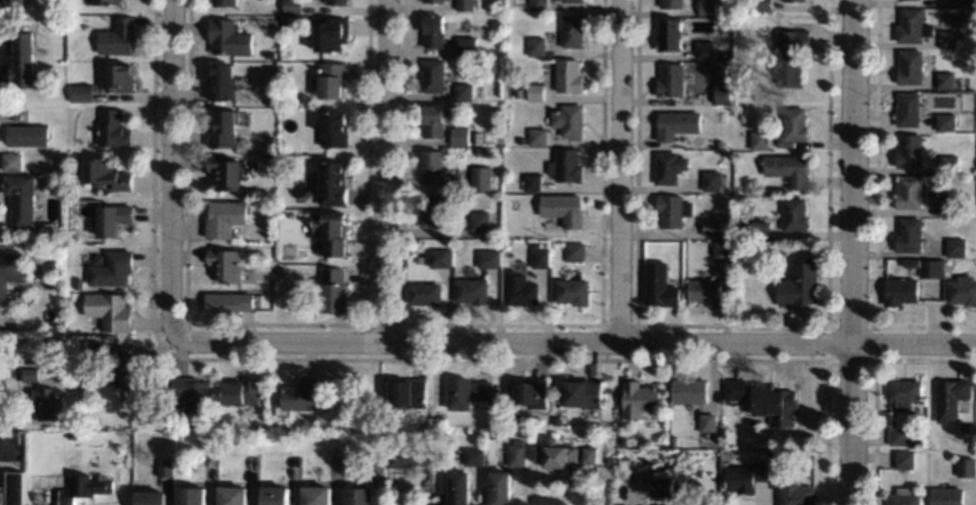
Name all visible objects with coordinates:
building: (11, 0)
building: (432, 0)
building: (793, 0)
building: (903, 0)
building: (571, 1)
building: (106, 2)
building: (225, 2)
building: (338, 2)
building: (965, 2)
building: (672, 4)
building: (292, 5)
building: (464, 5)
building: (536, 5)
building: (762, 5)
building: (707, 7)
building: (283, 19)
building: (24, 23)
building: (912, 25)
building: (433, 30)
building: (571, 30)
building: (331, 32)
building: (669, 34)
building: (117, 36)
building: (229, 37)
building: (947, 38)
building: (466, 45)
building: (534, 46)
building: (704, 49)
building: (789, 54)
building: (22, 60)
building: (910, 66)
building: (432, 74)
building: (566, 75)
building: (120, 77)
building: (331, 79)
building: (945, 79)
building: (669, 80)
building: (221, 82)
building: (462, 91)
building: (533, 91)
building: (80, 92)
building: (721, 94)
building: (302, 96)
building: (269, 101)
building: (909, 108)
building: (567, 119)
building: (432, 120)
building: (945, 121)
building: (675, 123)
building: (795, 123)
building: (112, 128)
building: (224, 128)
building: (332, 129)
building: (27, 134)
building: (458, 135)
building: (536, 136)
building: (476, 137)
building: (519, 139)
building: (759, 140)
building: (718, 142)
building: (269, 145)
building: (909, 150)
building: (270, 156)
building: (12, 160)
building: (949, 163)
building: (564, 165)
building: (432, 166)
building: (669, 167)
building: (788, 169)
building: (225, 171)
road: (620, 172)
building: (106, 173)
road: (377, 173)
road: (171, 174)
building: (481, 178)
building: (711, 180)
building: (531, 181)
building: (331, 182)
building: (909, 192)
building: (448, 196)
building: (21, 198)
building: (950, 205)
building: (562, 208)
building: (672, 209)
building: (431, 210)
building: (794, 215)
building: (224, 217)
building: (112, 218)
building: (480, 220)
building: (711, 226)
building: (305, 227)
building: (759, 230)
building: (330, 232)
building: (908, 234)
building: (535, 244)
building: (955, 246)
building: (720, 248)
building: (781, 249)
building: (574, 250)
road: (852, 252)
building: (439, 257)
building: (488, 258)
building: (540, 258)
building: (915, 262)
building: (52, 263)
building: (228, 263)
building: (111, 268)
building: (931, 268)
building: (282, 271)
building: (11, 272)
building: (658, 284)
building: (799, 284)
building: (334, 289)
building: (519, 289)
building: (471, 290)
building: (571, 290)
building: (703, 290)
building: (900, 290)
building: (962, 290)
building: (424, 293)
building: (70, 295)
building: (229, 302)
building: (109, 309)
road: (572, 345)
building: (124, 371)
building: (29, 372)
road: (5, 376)
building: (497, 387)
building: (689, 390)
building: (242, 391)
building: (468, 391)
building: (528, 391)
building: (408, 392)
building: (581, 392)
building: (905, 392)
building: (193, 393)
building: (299, 396)
building: (951, 398)
building: (638, 399)
building: (764, 399)
building: (43, 401)
building: (439, 415)
building: (555, 419)
building: (155, 420)
building: (163, 421)
building: (707, 421)
building: (965, 425)
building: (71, 434)
building: (180, 435)
building: (898, 436)
building: (622, 439)
building: (673, 440)
building: (912, 440)
building: (516, 452)
building: (554, 453)
building: (588, 454)
building: (408, 455)
building: (473, 455)
building: (610, 459)
building: (905, 459)
building: (967, 466)
building: (166, 467)
building: (698, 471)
building: (747, 476)
building: (664, 483)
building: (15, 487)
building: (84, 488)
building: (458, 488)
building: (500, 488)
building: (794, 489)
building: (2, 494)
building: (39, 494)
building: (191, 494)
building: (232, 495)
building: (274, 495)
building: (316, 495)
building: (358, 496)
building: (904, 496)
building: (947, 496)
building: (149, 497)

